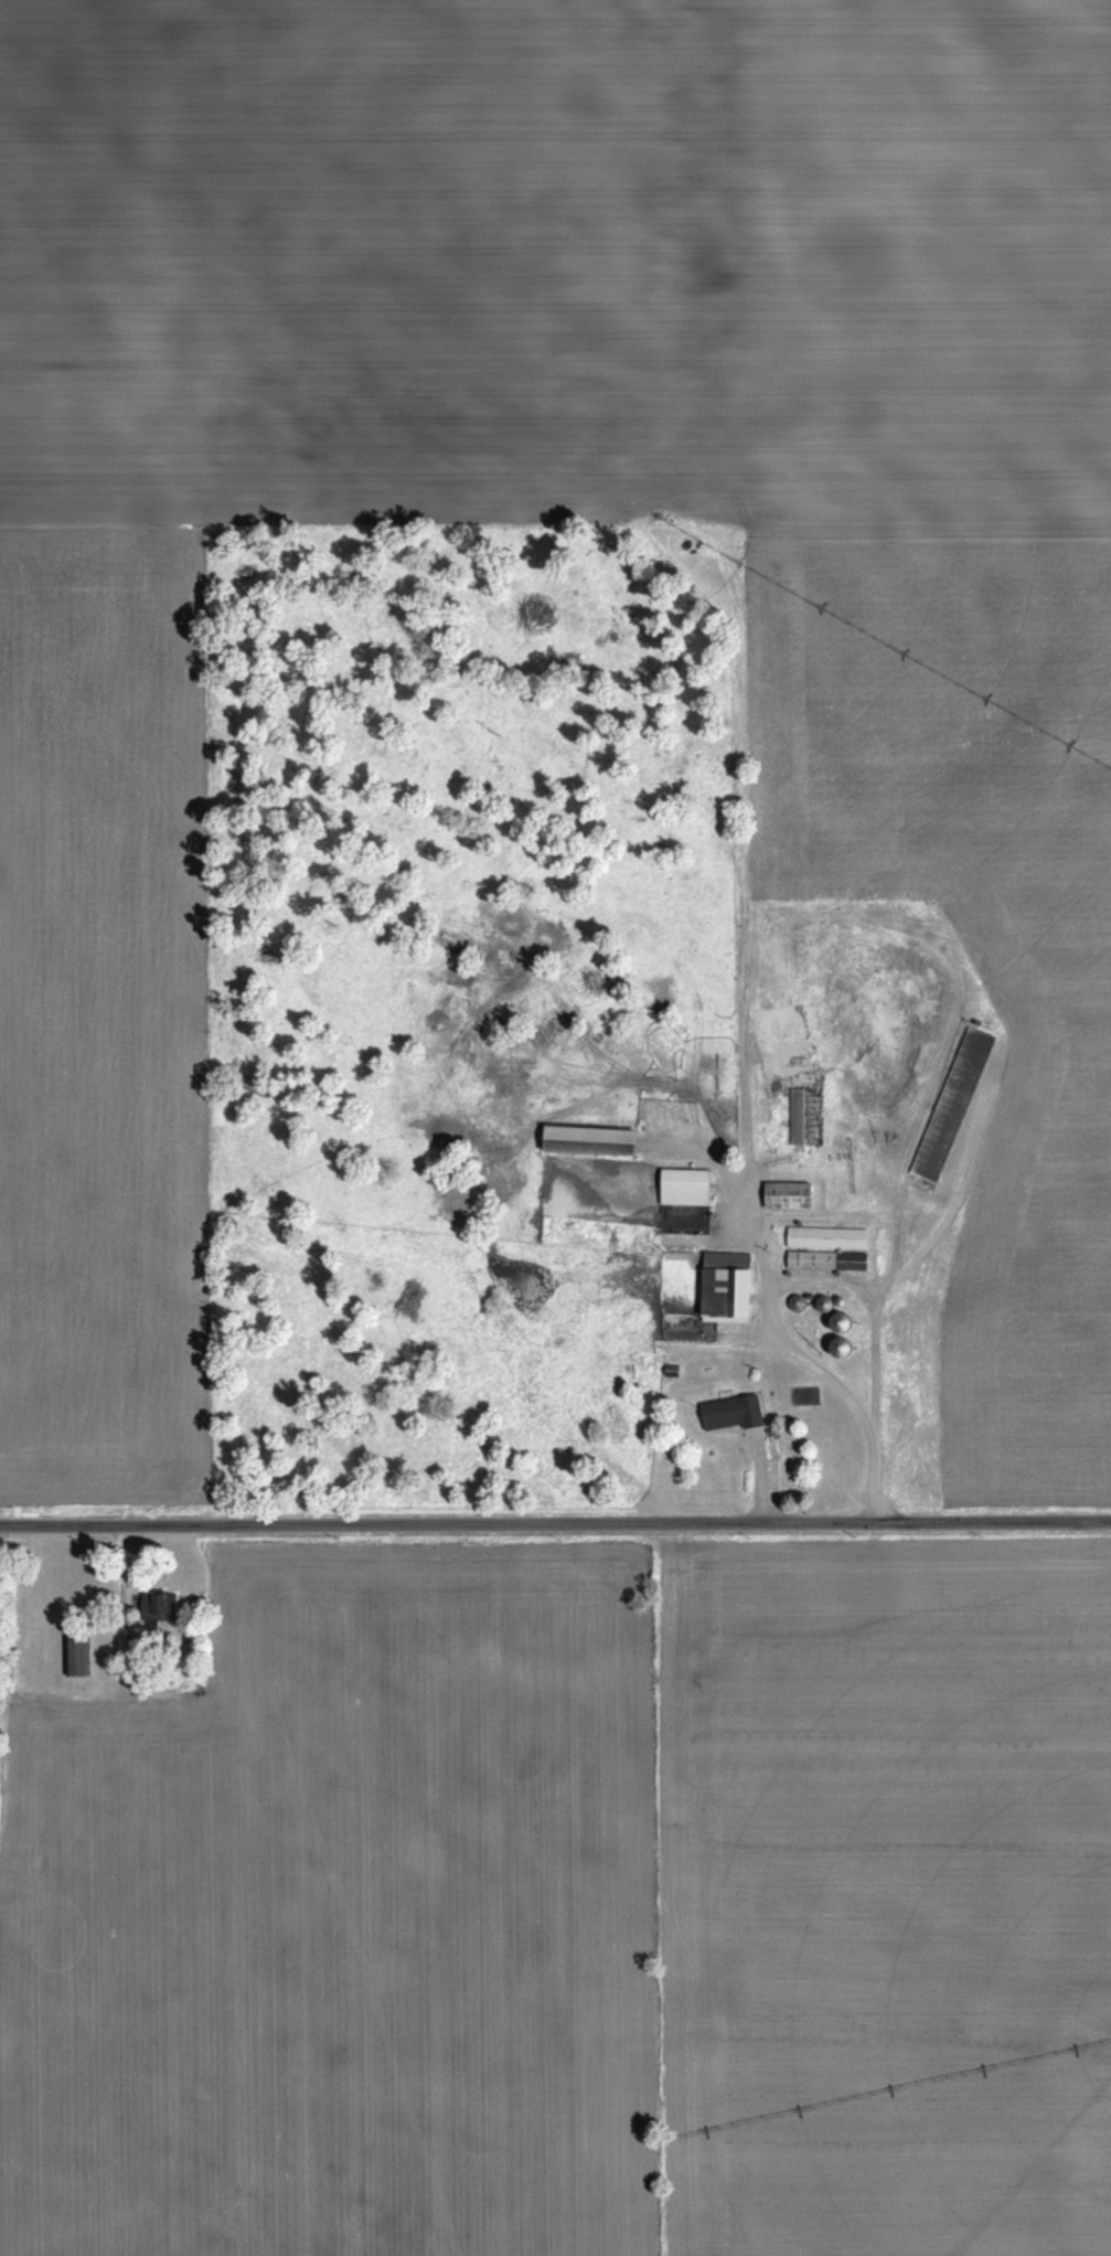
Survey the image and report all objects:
crop: (555, 262)
building: (953, 1104)
building: (800, 1117)
building: (592, 1140)
building: (685, 1186)
building: (789, 1194)
road: (744, 1212)
building: (830, 1237)
building: (813, 1260)
building: (856, 1262)
building: (726, 1283)
building: (821, 1297)
building: (834, 1297)
building: (791, 1298)
building: (836, 1320)
building: (835, 1341)
building: (846, 1345)
road: (810, 1365)
building: (728, 1413)
building: (772, 1447)
road: (872, 1477)
road: (555, 1523)
building: (162, 1605)
building: (79, 1651)

